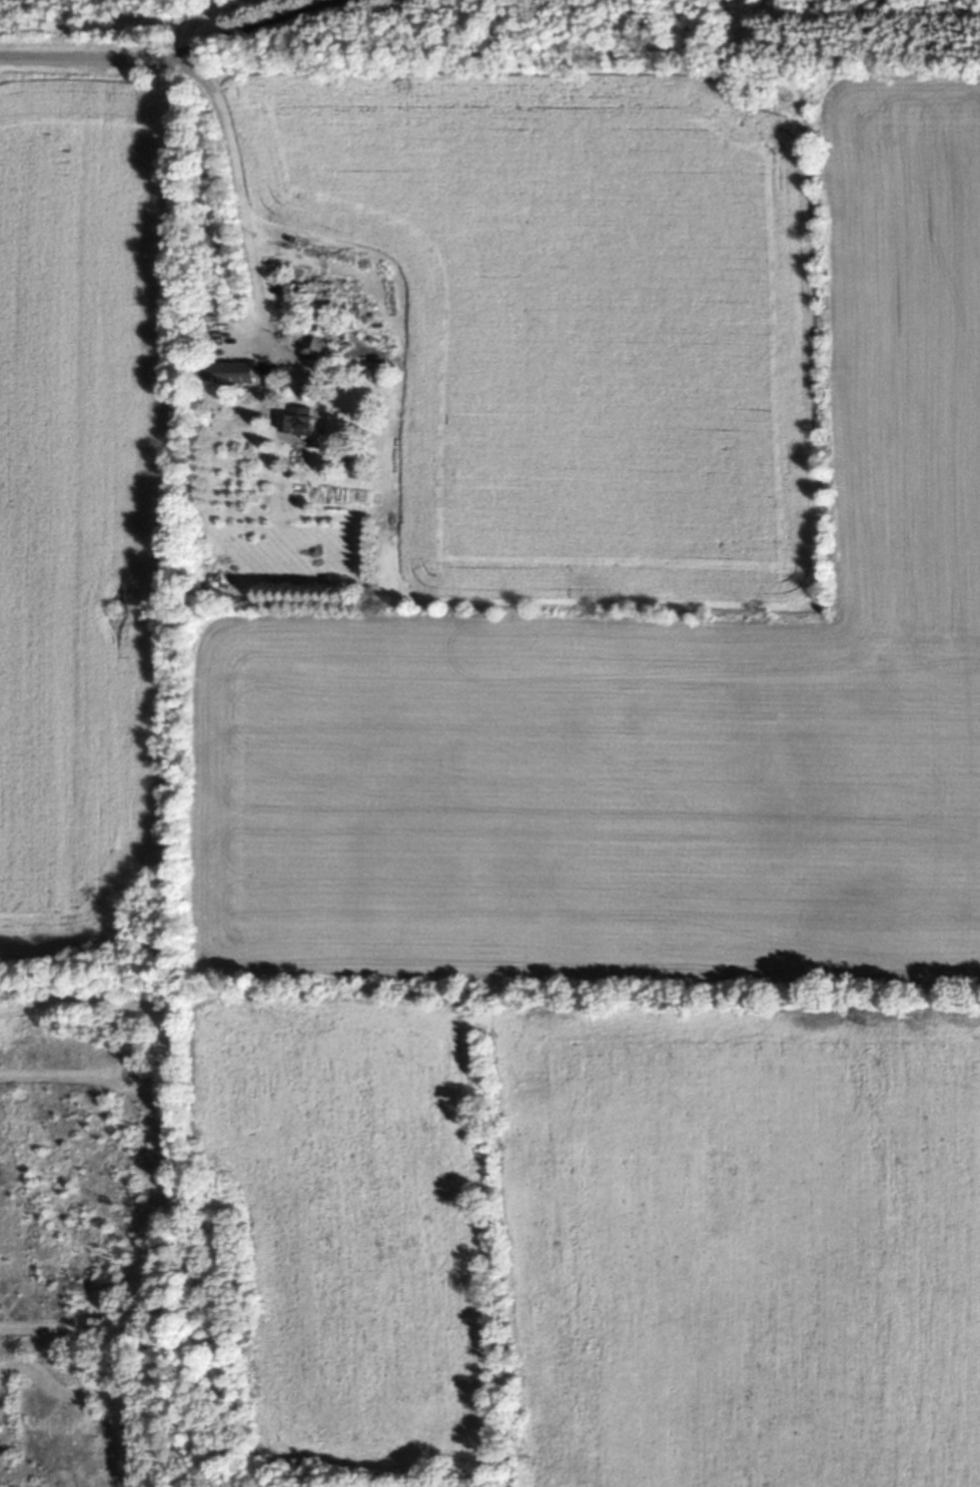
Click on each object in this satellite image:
road: (254, 27)
road: (85, 54)
road: (239, 191)
building: (320, 336)
building: (371, 371)
building: (230, 373)
building: (298, 421)

